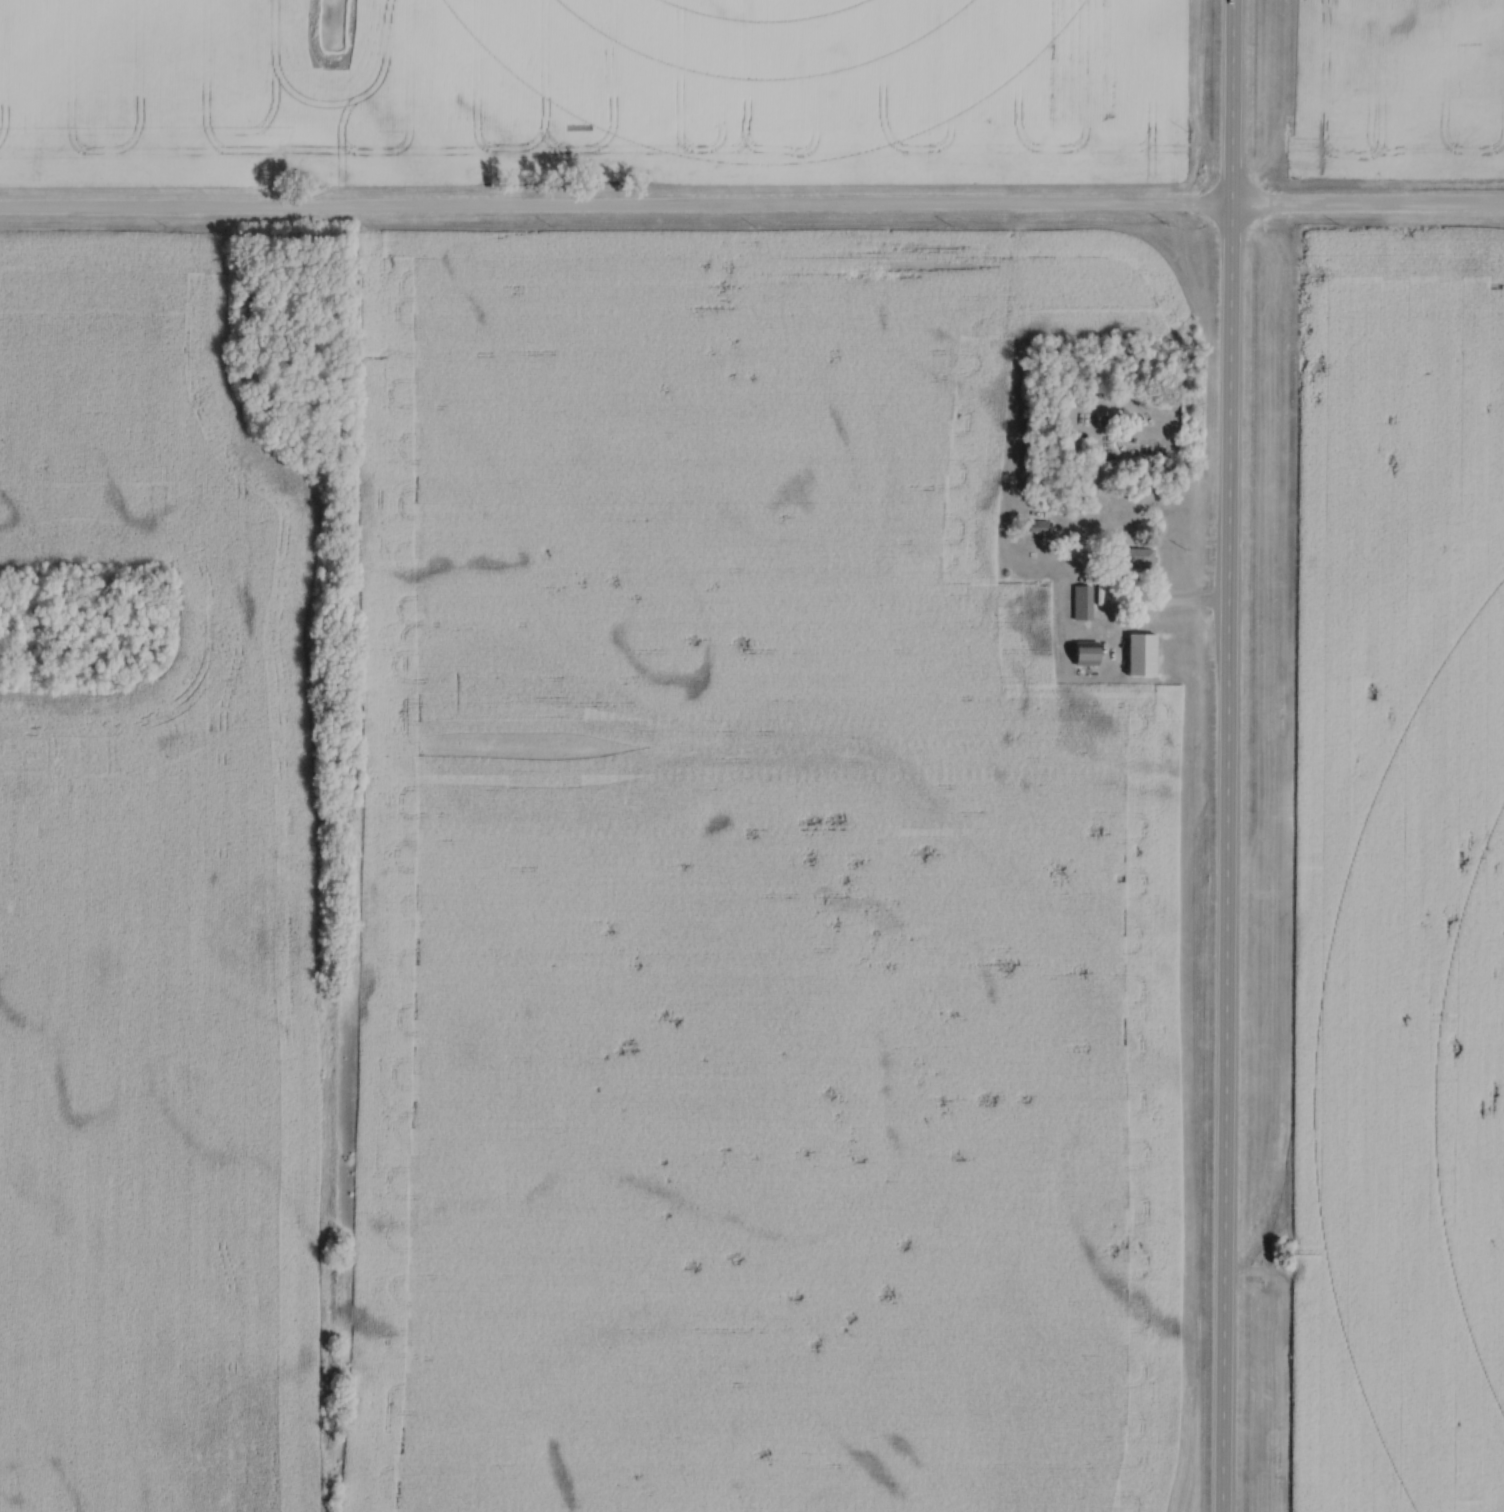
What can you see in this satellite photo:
road: (752, 209)
building: (1041, 526)
building: (1142, 557)
building: (1086, 602)
road: (1164, 606)
building: (1093, 653)
building: (1148, 654)
road: (1229, 756)

